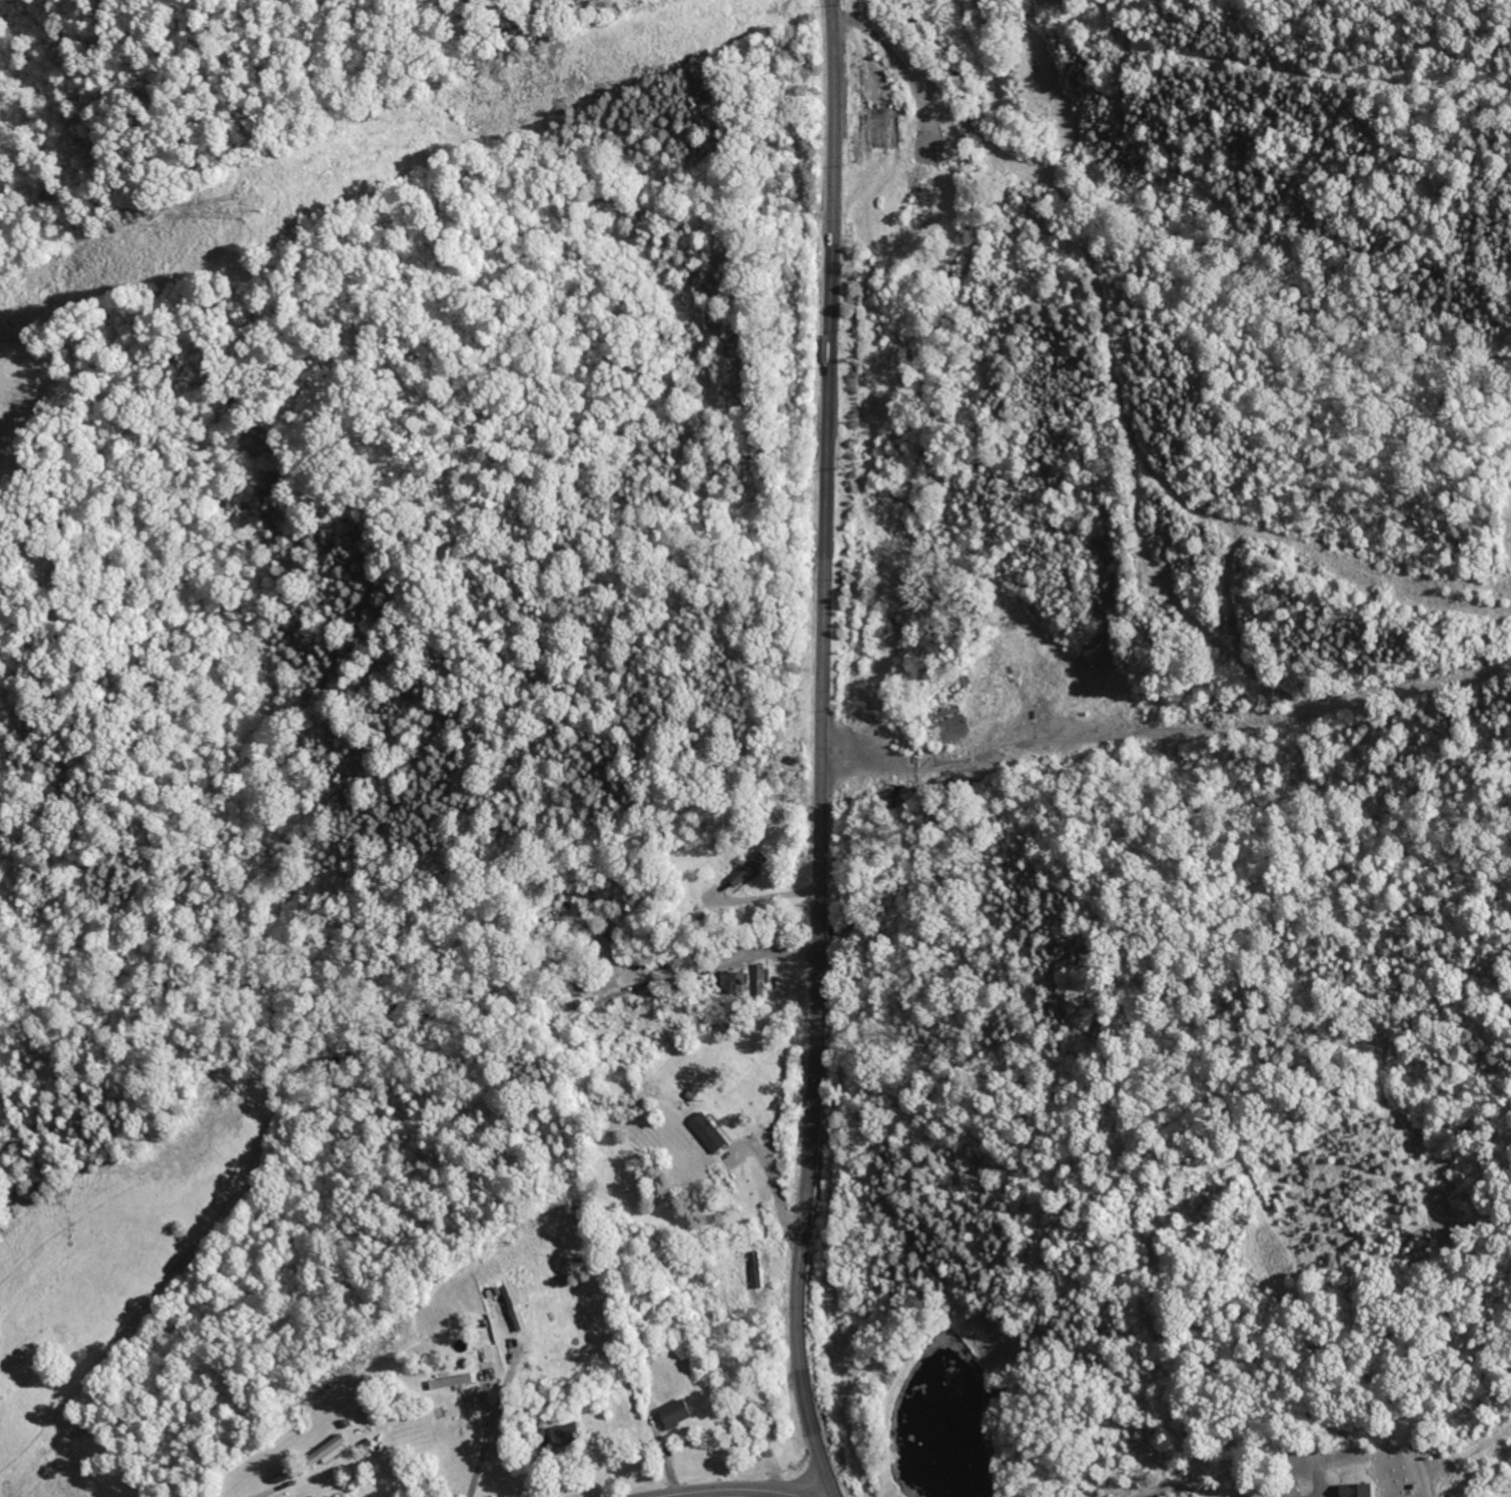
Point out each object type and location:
power tower: (252, 201)
road: (823, 751)
building: (747, 870)
building: (707, 1132)
building: (515, 1308)
building: (447, 1380)
road: (489, 1429)
building: (563, 1435)
building: (326, 1451)
road: (724, 1490)
road: (269, 1491)

